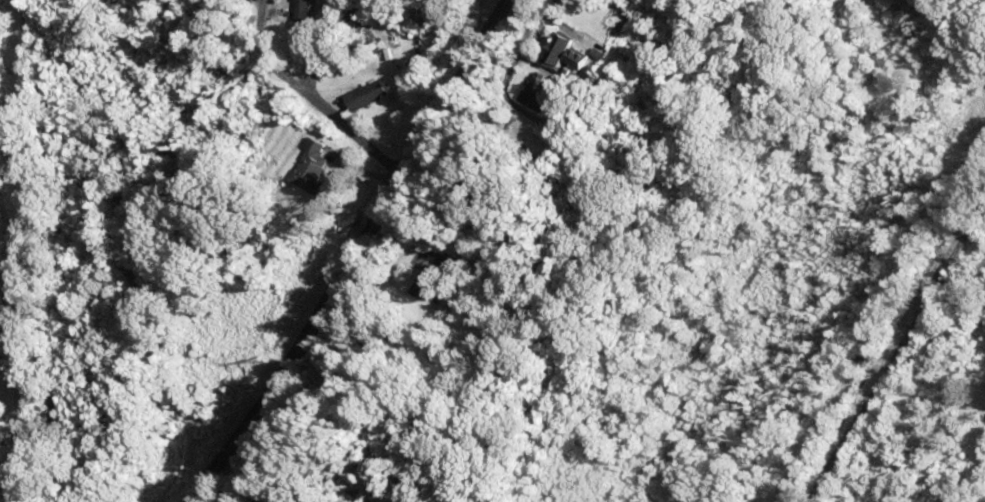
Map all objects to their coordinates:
building: (306, 11)
building: (428, 14)
building: (559, 51)
building: (581, 55)
building: (537, 93)
building: (359, 99)
building: (316, 166)
road: (327, 252)
railway: (889, 341)

